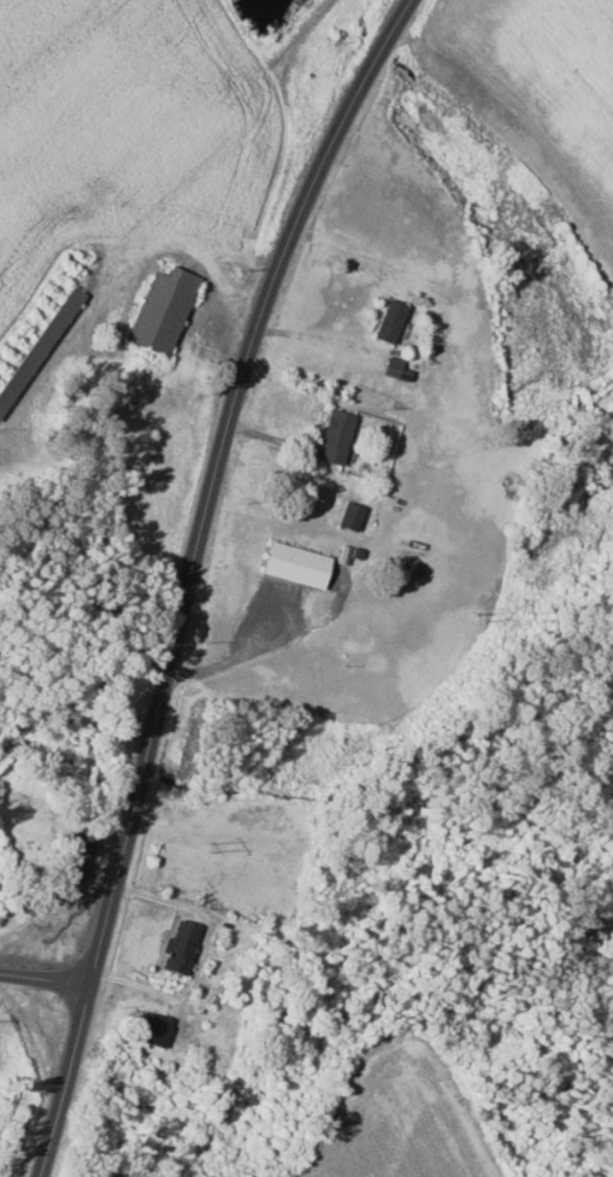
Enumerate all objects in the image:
building: (161, 310)
building: (389, 322)
building: (396, 369)
building: (335, 437)
building: (349, 516)
building: (295, 564)
road: (189, 572)
power tower: (487, 616)
power tower: (210, 845)
building: (76, 855)
building: (179, 945)
road: (128, 960)
road: (45, 978)
building: (154, 1027)

